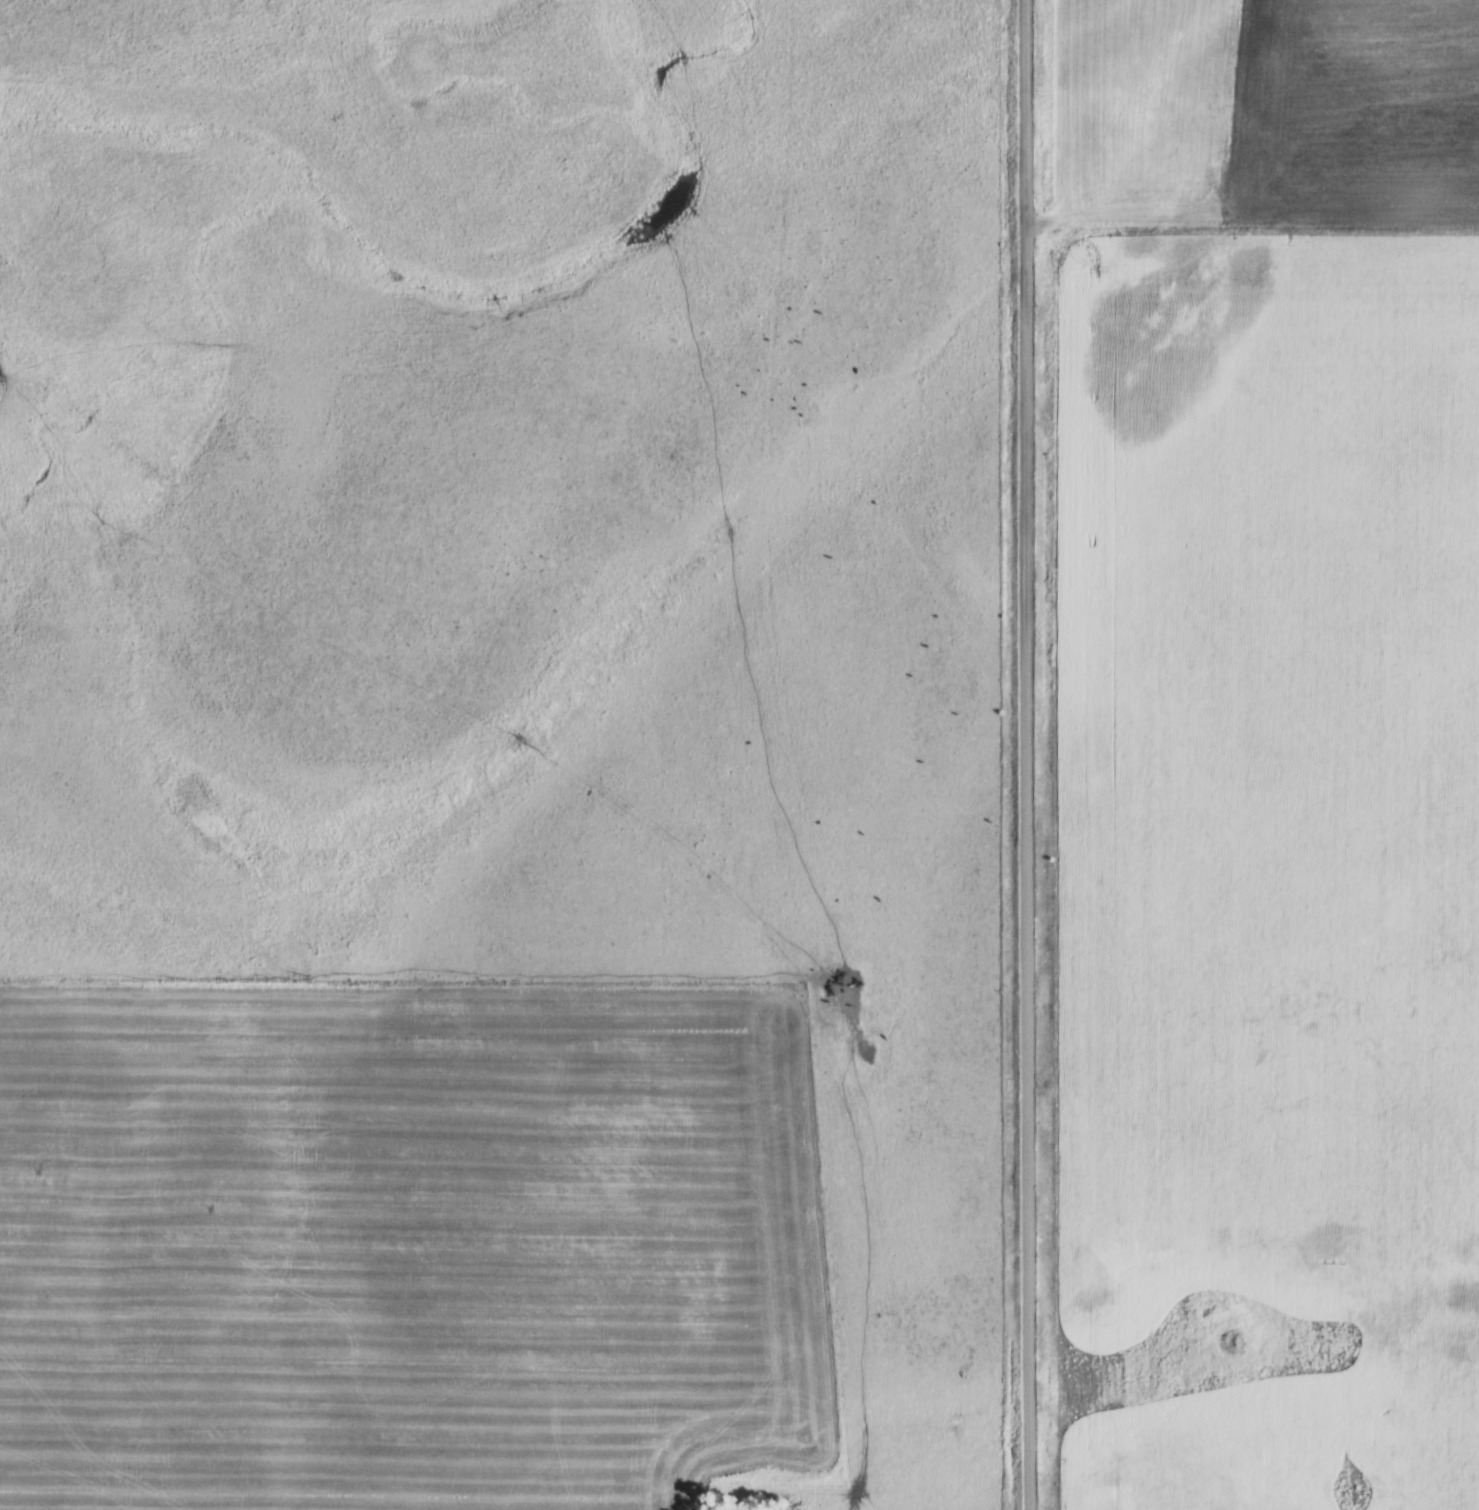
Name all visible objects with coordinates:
road: (1040, 755)

